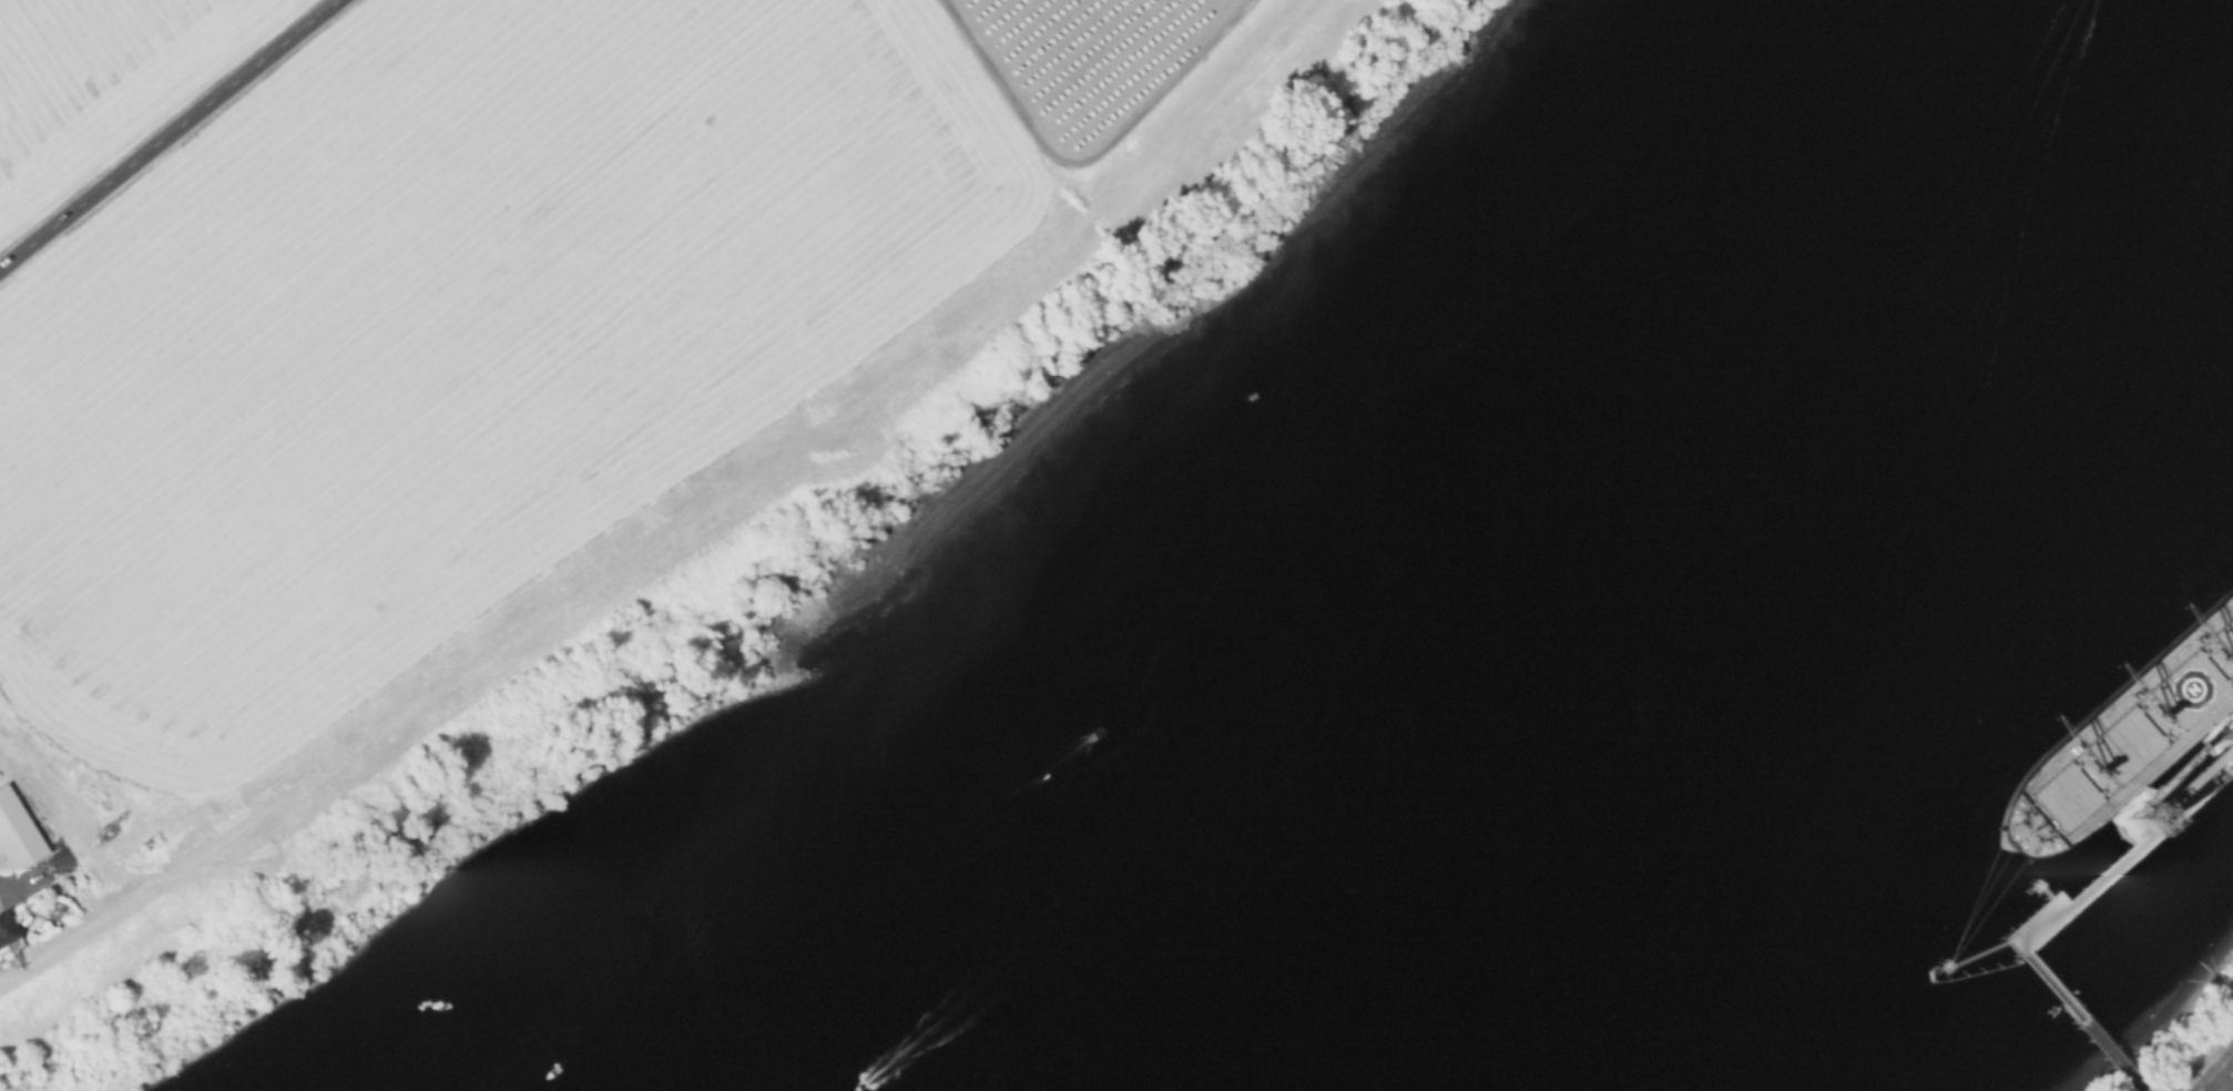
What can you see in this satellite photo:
crop: (1085, 53)
crop: (106, 84)
road: (169, 133)
road: (1085, 161)
crop: (448, 336)
river: (1675, 548)
pier: (2186, 746)
building: (18, 832)
building: (152, 840)
pier: (2112, 867)
pier: (2038, 890)
building: (7, 928)
pier: (1975, 962)
pier: (2081, 1021)
railway: (2231, 1062)
railway: (2211, 1065)
railway: (2220, 1074)
railway: (2227, 1085)

